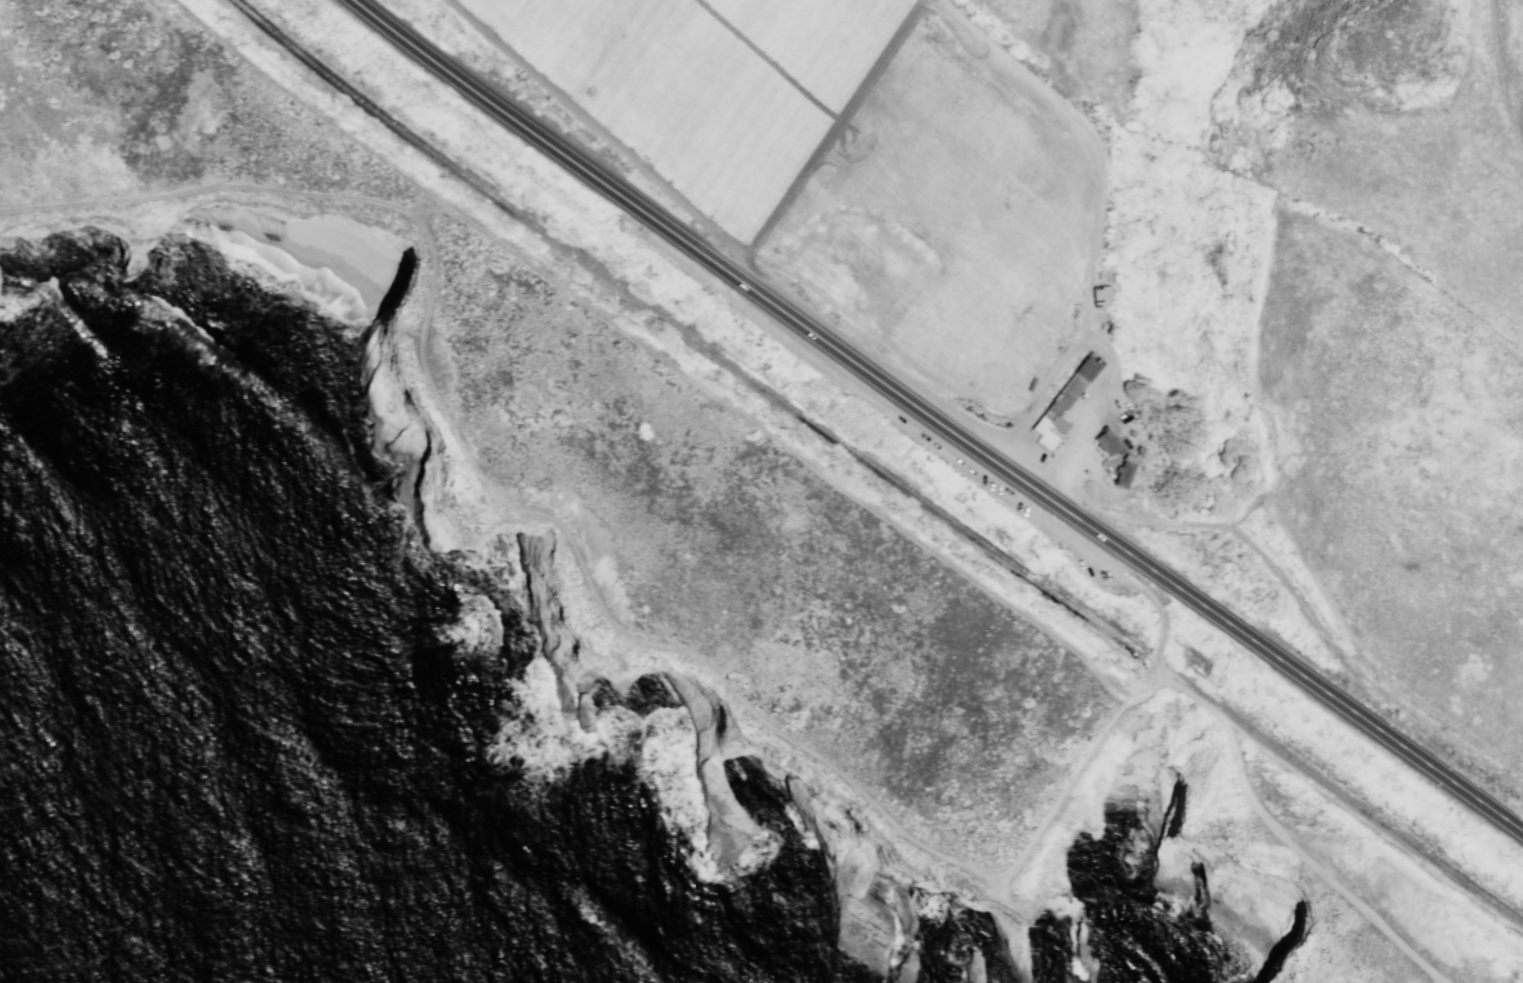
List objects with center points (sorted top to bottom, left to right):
road: (1500, 72)
road: (303, 101)
crop: (844, 148)
road: (213, 185)
road: (1096, 198)
road: (429, 212)
road: (1289, 220)
building: (1100, 297)
road: (405, 329)
road: (1317, 332)
building: (1064, 399)
parking lot: (1076, 408)
road: (1088, 414)
road: (933, 421)
road: (993, 436)
building: (1107, 444)
road: (787, 447)
railway: (876, 466)
parking lot: (980, 475)
building: (1123, 475)
crop: (1416, 496)
park: (758, 565)
road: (1291, 591)
road: (1162, 632)
road: (705, 665)
road: (1160, 672)
road: (1434, 728)
road: (1125, 735)
road: (1216, 791)
road: (1218, 821)
road: (1247, 824)
road: (1283, 840)
road: (1296, 864)
road: (1290, 874)
road: (1323, 892)
road: (1305, 976)
road: (1435, 979)

